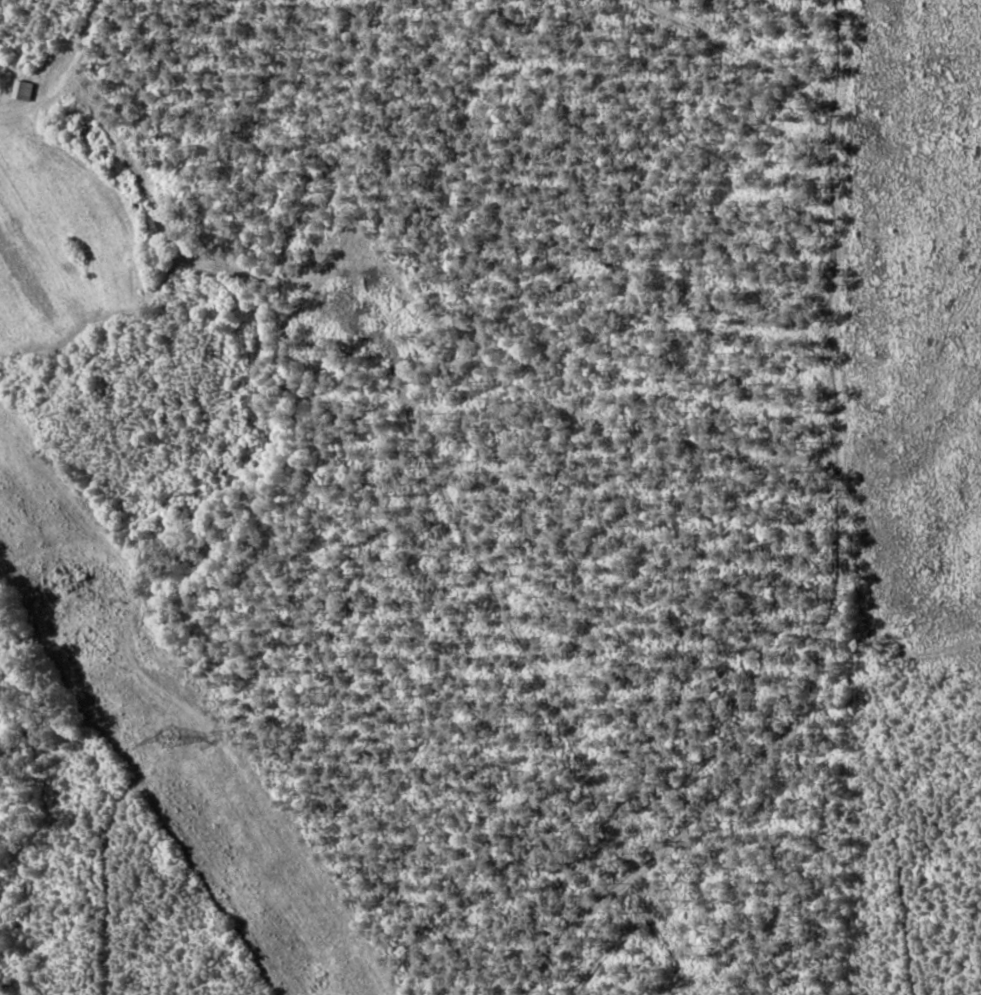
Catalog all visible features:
building: (21, 89)
power tower: (170, 741)

